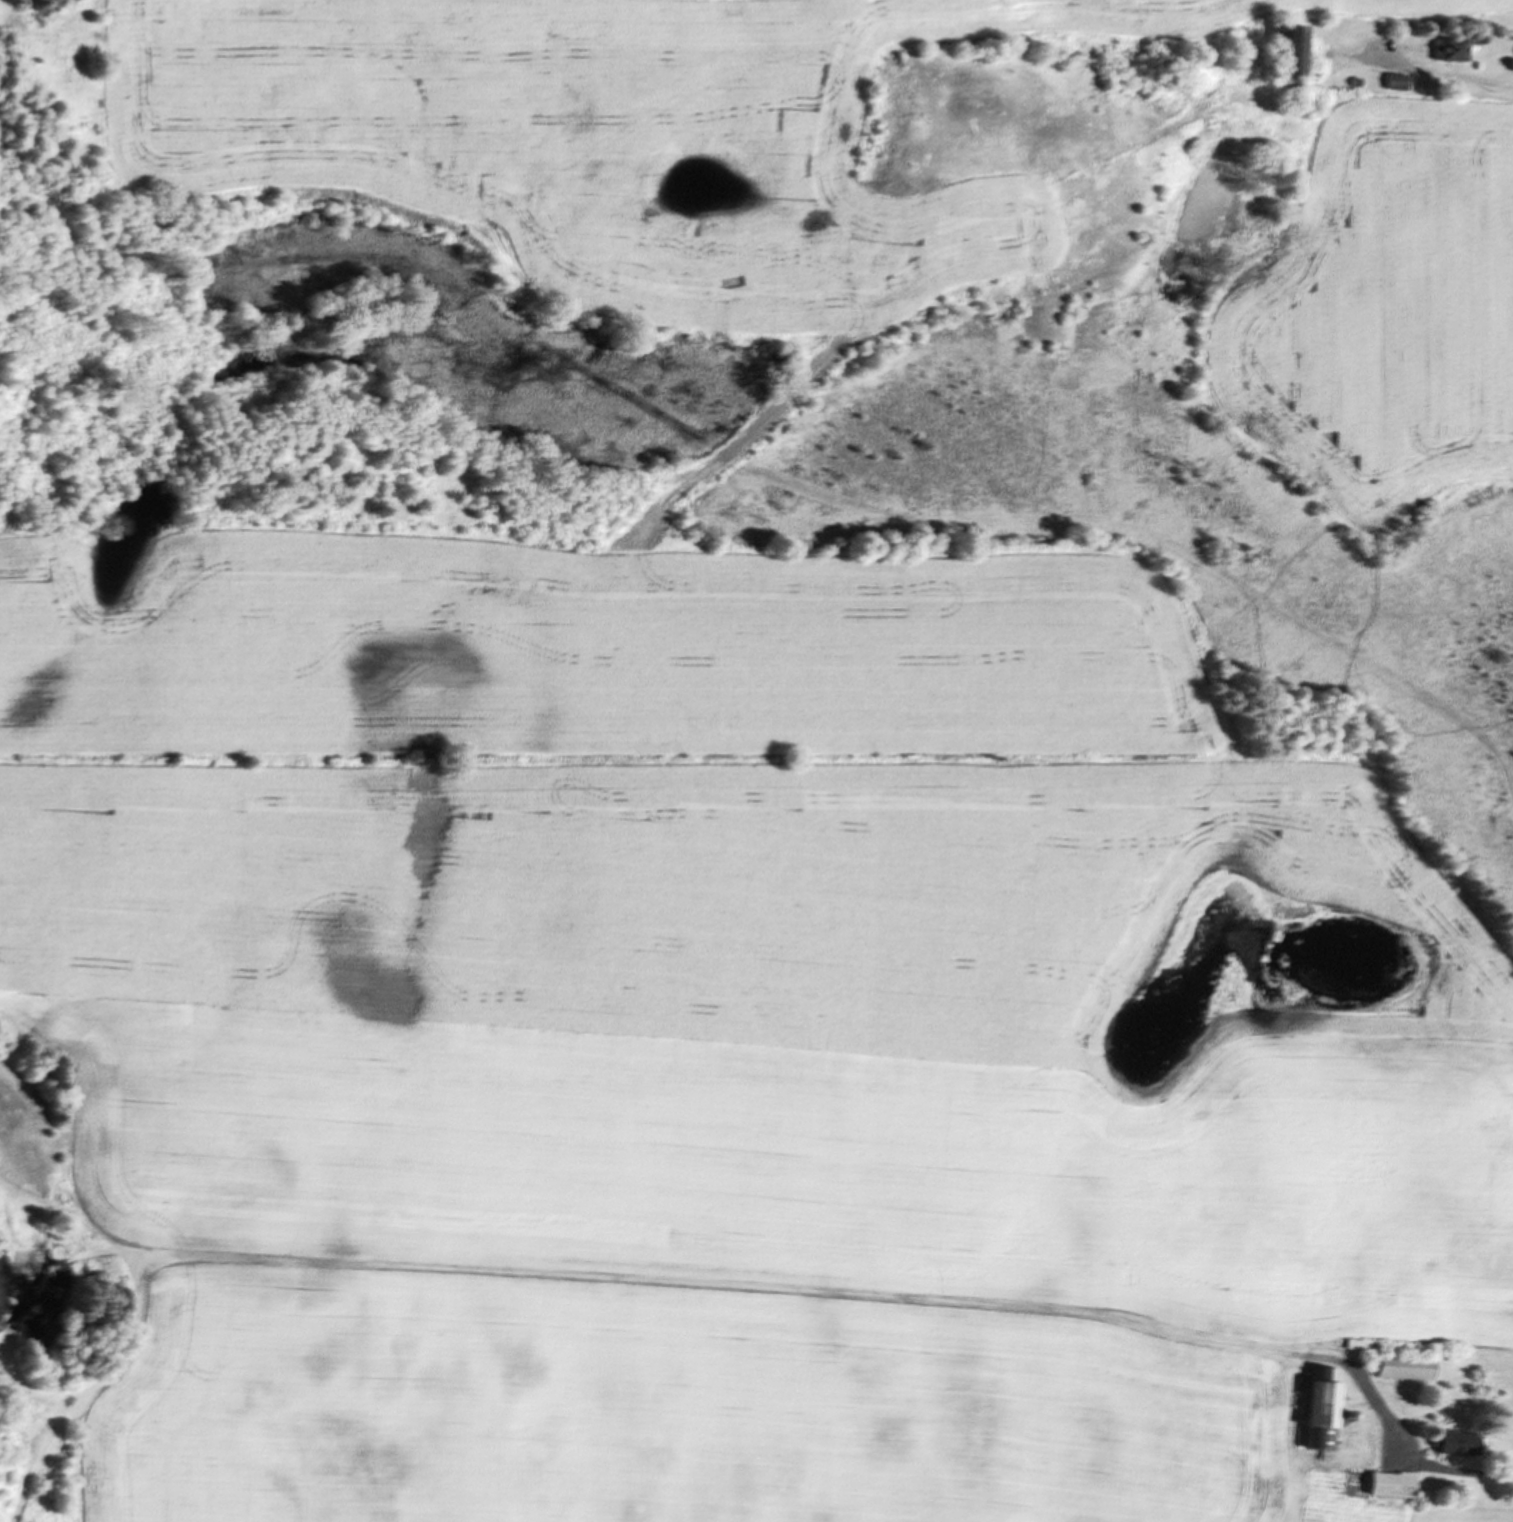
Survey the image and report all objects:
building: (1295, 49)
building: (1452, 49)
building: (1398, 81)
building: (1327, 774)
building: (1319, 793)
building: (1407, 1367)
building: (1324, 1408)
building: (1460, 1443)
road: (1452, 1462)
building: (1393, 1485)

